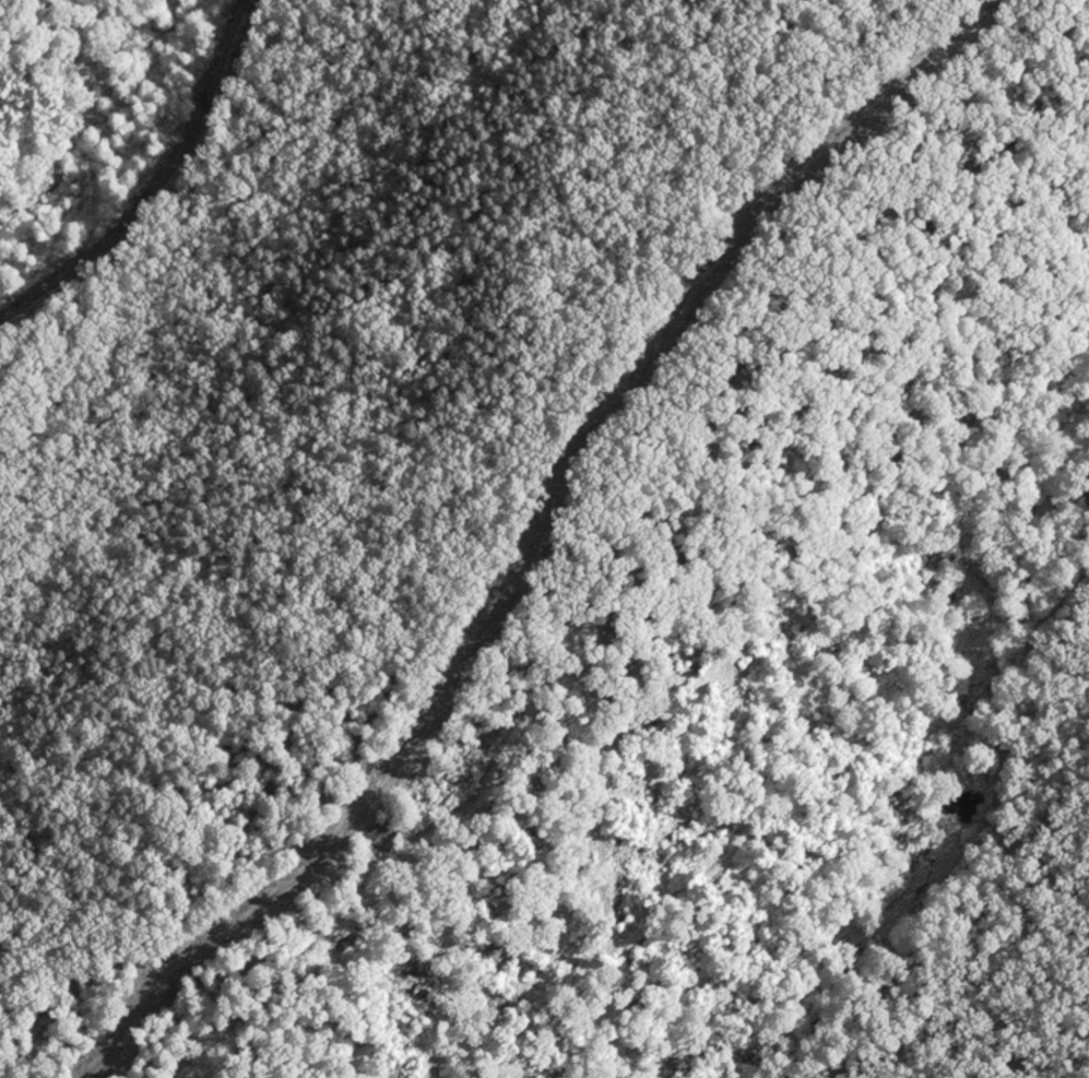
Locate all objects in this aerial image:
road: (184, 203)

